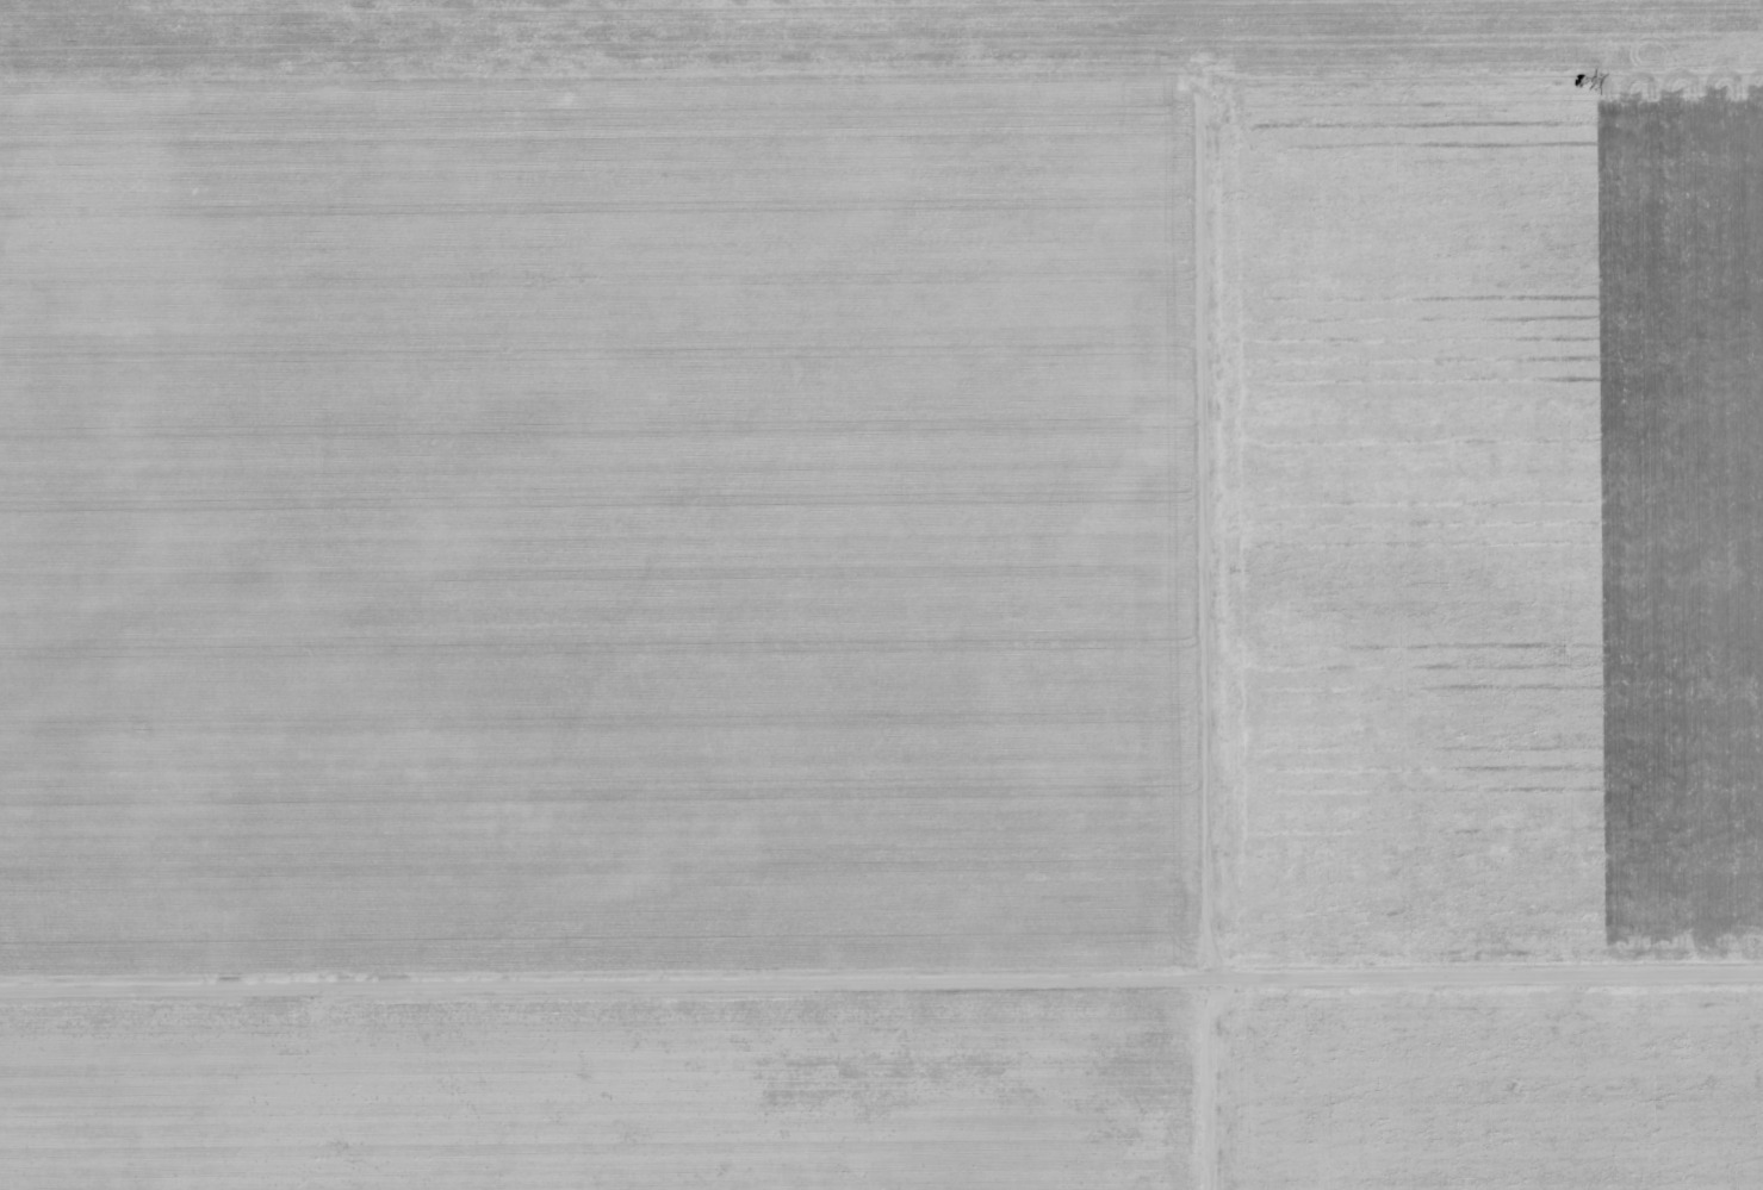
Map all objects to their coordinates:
road: (881, 952)

